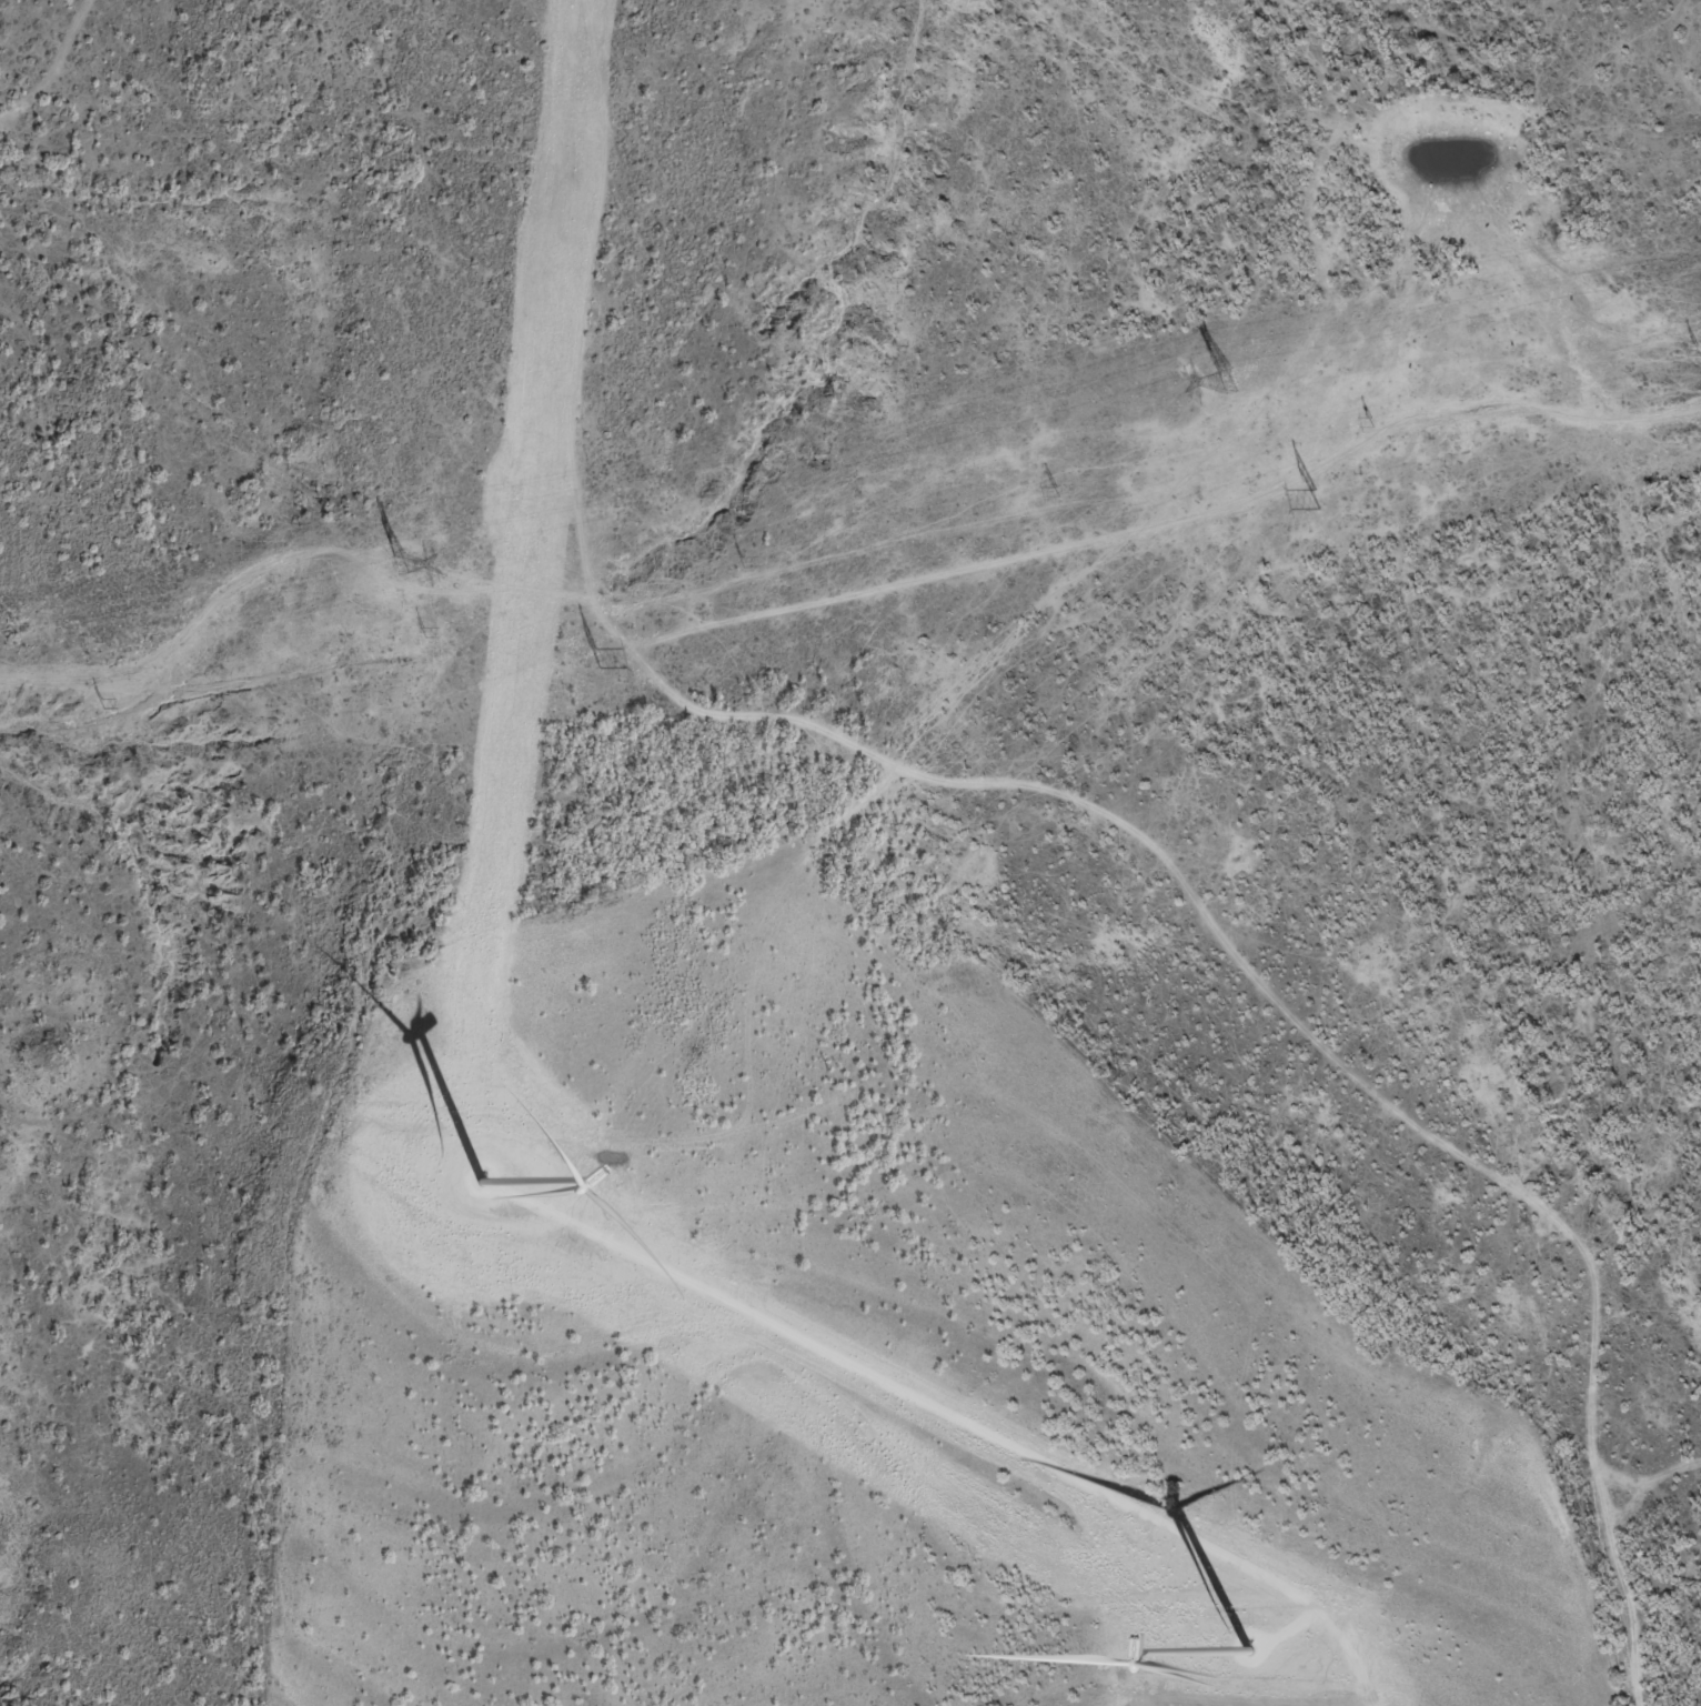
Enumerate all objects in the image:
power tower: (1700, 350)
power tower: (1224, 382)
power tower: (1376, 422)
power tower: (1058, 492)
power tower: (1315, 498)
power tower: (743, 561)
power tower: (396, 562)
power tower: (421, 633)
power tower: (594, 658)
power tower: (102, 702)
road: (1075, 799)
wind turbine: (484, 1177)
road: (966, 1423)
wind turbine: (1251, 1649)

